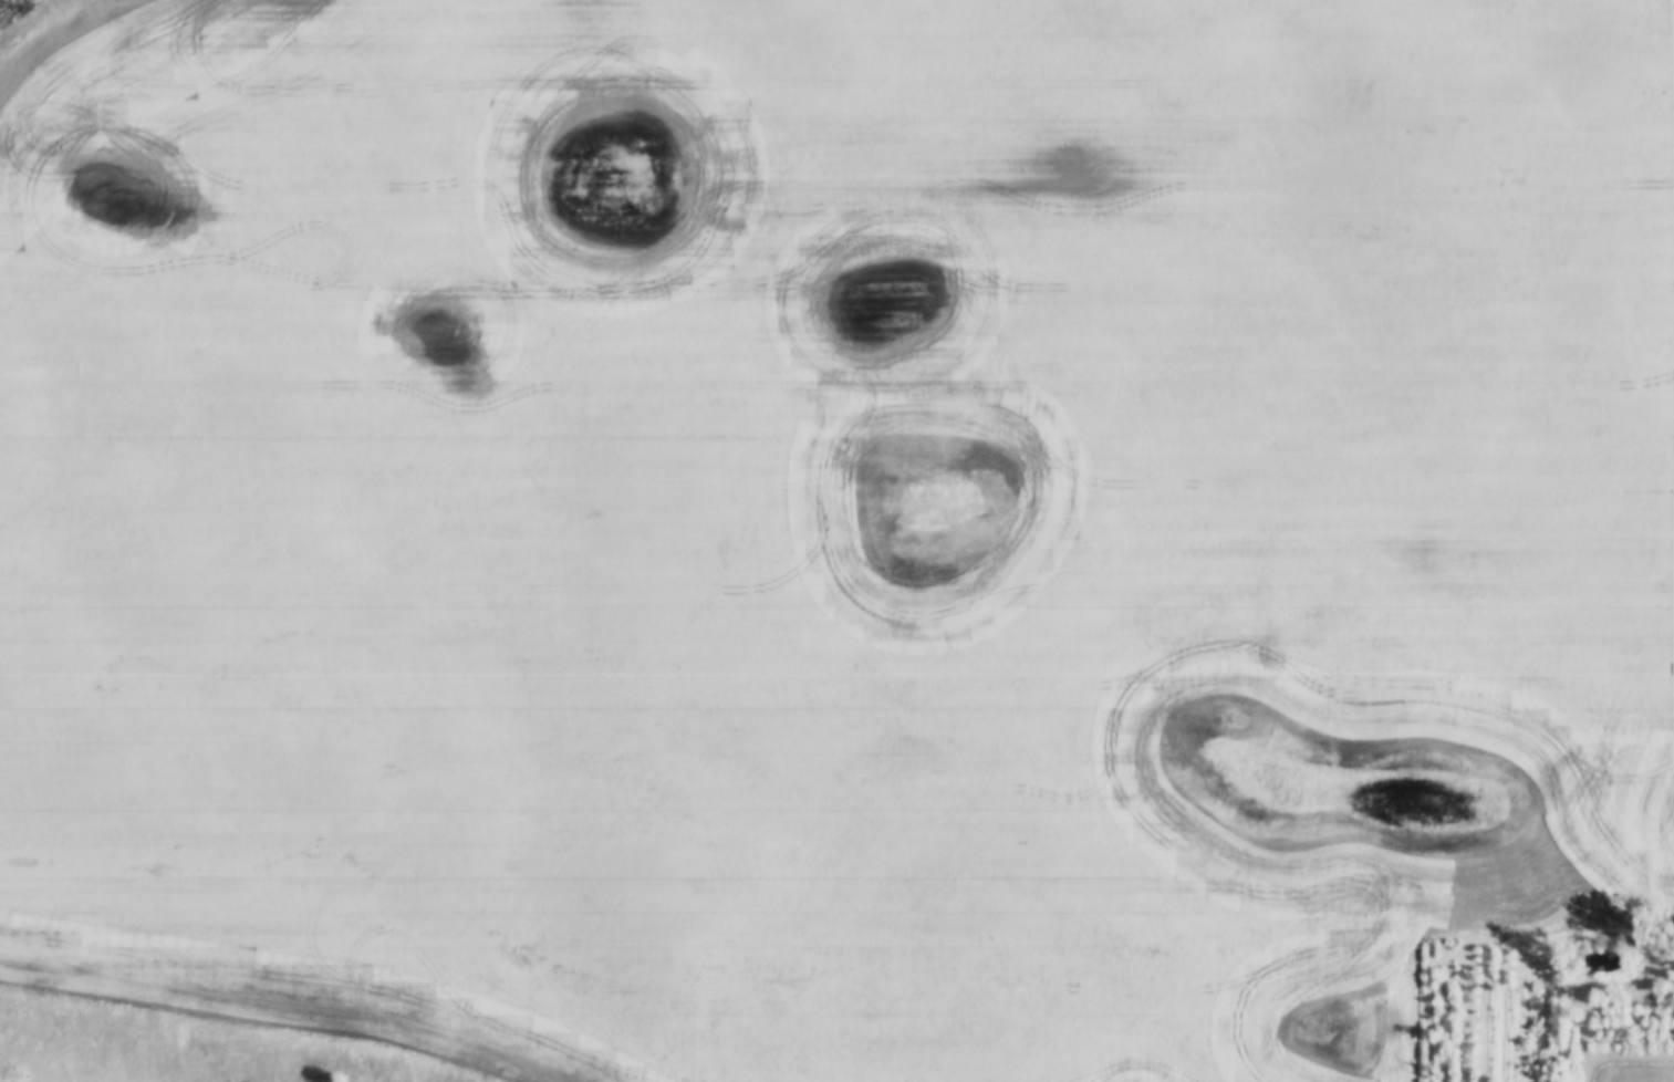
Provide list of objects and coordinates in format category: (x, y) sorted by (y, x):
crop: (830, 523)

